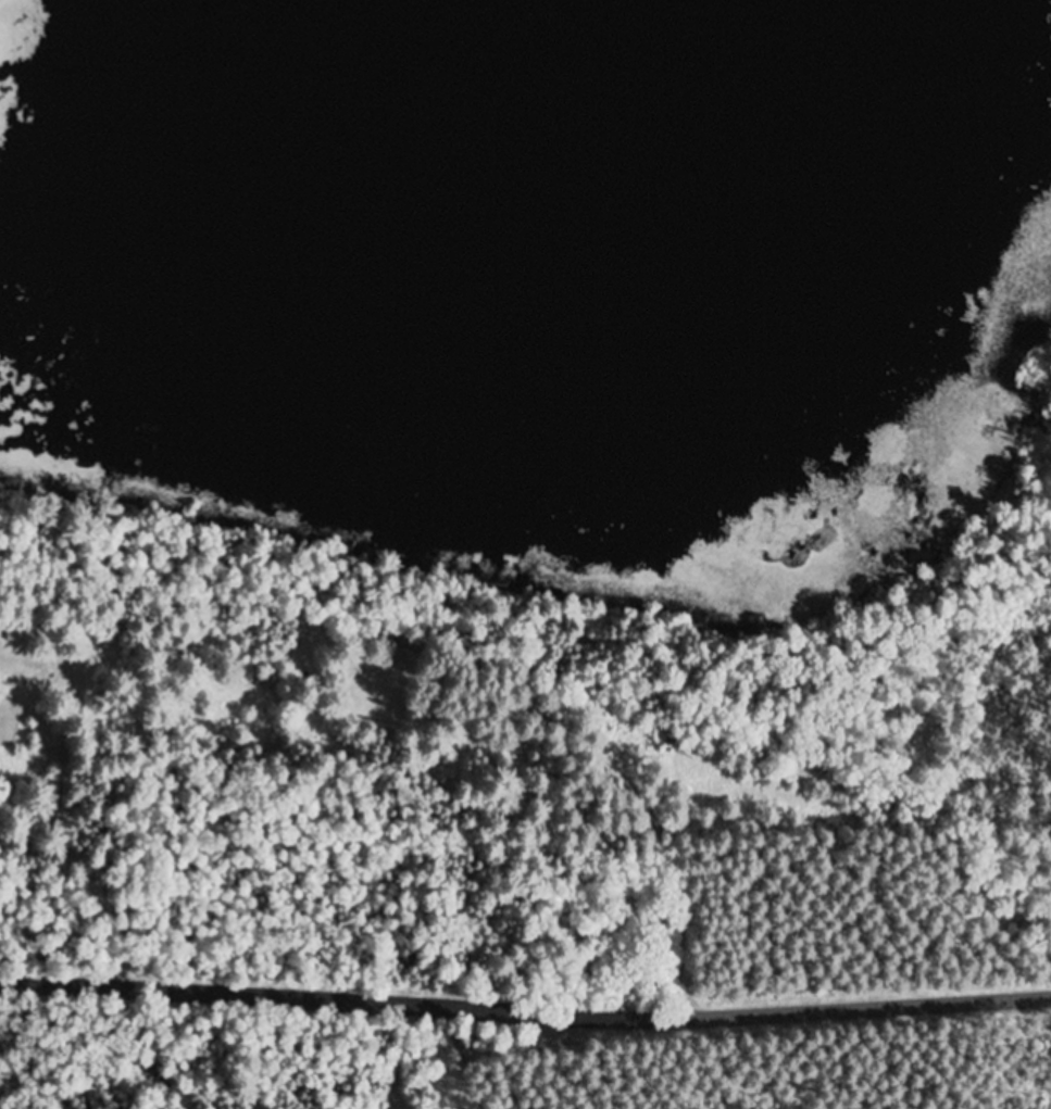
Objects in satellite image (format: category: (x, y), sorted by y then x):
building: (14, 635)
building: (397, 643)
road: (625, 867)
road: (526, 1015)

